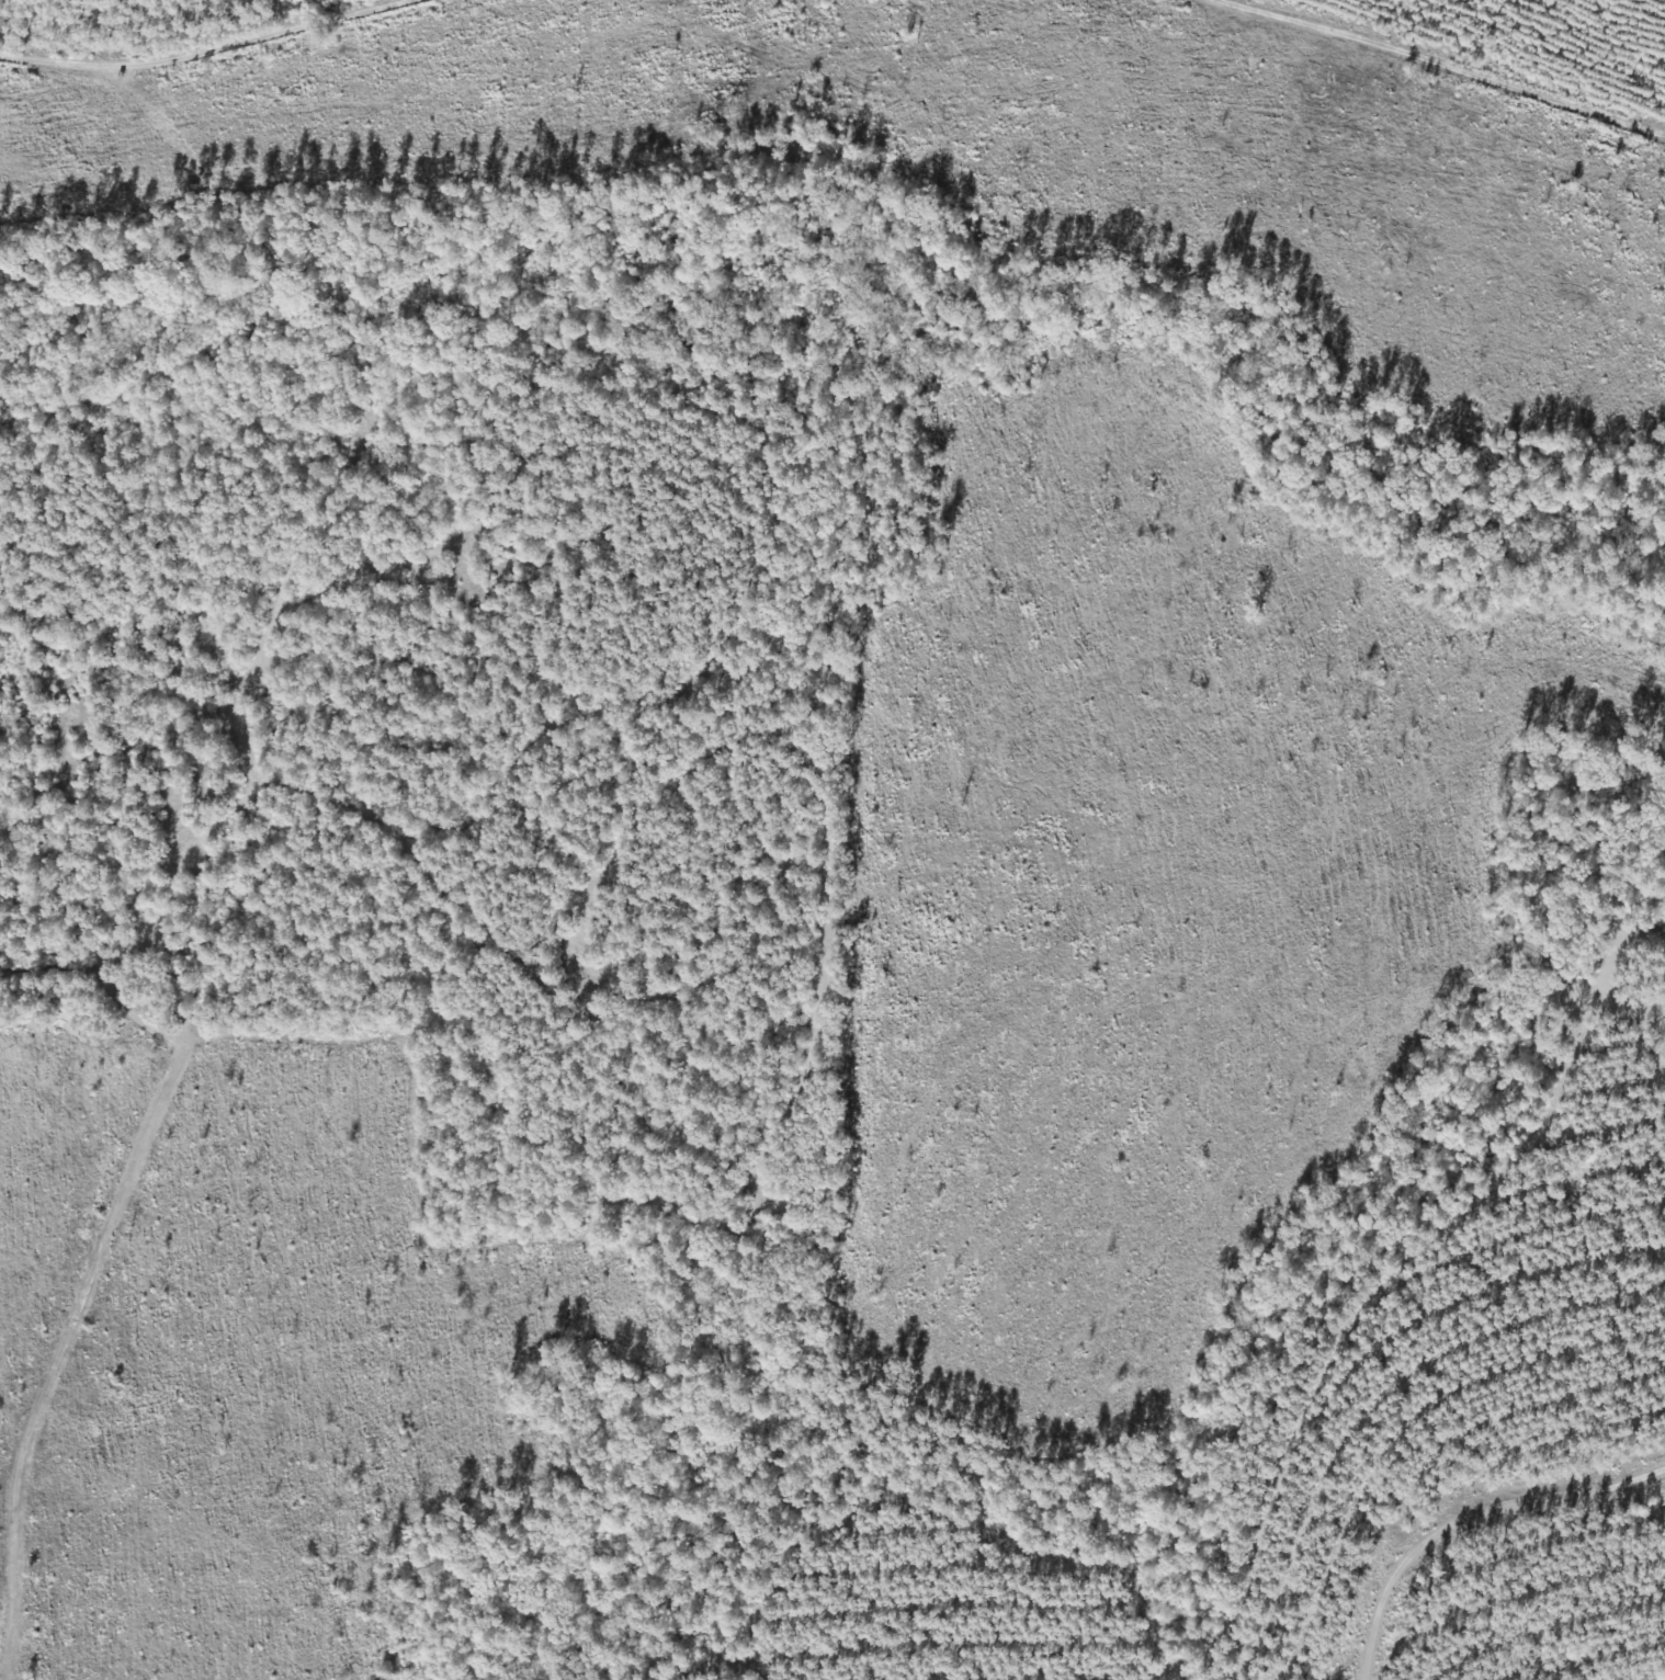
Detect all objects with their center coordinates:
road: (1470, 1540)

